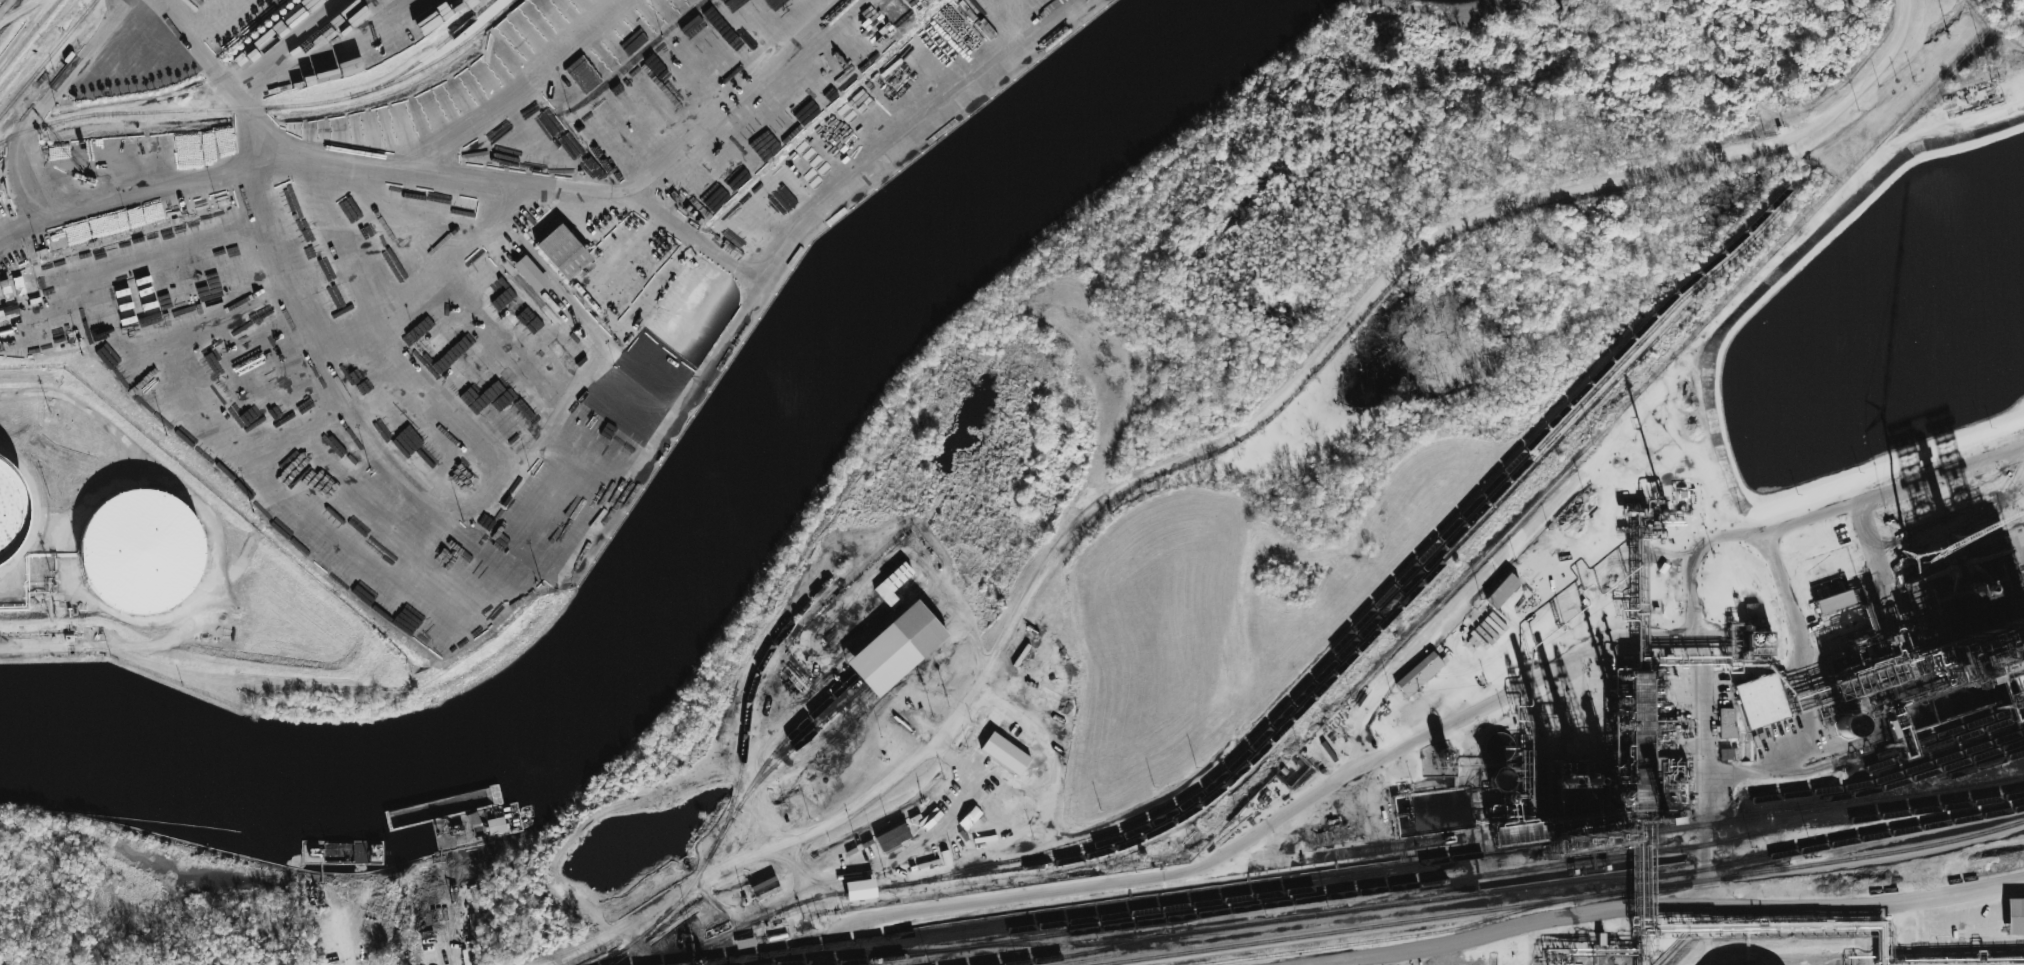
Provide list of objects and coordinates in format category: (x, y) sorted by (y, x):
building: (903, 12)
building: (955, 36)
railway: (427, 54)
railway: (47, 57)
railway: (173, 96)
railway: (322, 102)
road: (46, 105)
road: (315, 148)
road: (118, 204)
road: (467, 241)
road: (1826, 248)
building: (563, 251)
building: (530, 273)
river: (854, 310)
road: (232, 377)
road: (1653, 395)
road: (1105, 443)
road: (1210, 448)
road: (159, 470)
road: (1852, 480)
building: (13, 509)
storage tank: (13, 509)
road: (1764, 525)
storage tank: (541, 527)
storage tank: (545, 531)
storage tank: (551, 534)
storage tank: (560, 541)
storage tank: (566, 544)
building: (141, 553)
storage tank: (141, 553)
road: (1696, 559)
railway: (1422, 568)
building: (892, 584)
building: (1502, 590)
railway: (1386, 593)
building: (1834, 601)
road: (1787, 602)
road: (959, 606)
road: (99, 646)
building: (896, 648)
building: (1419, 673)
building: (1761, 701)
railway: (840, 706)
railway: (809, 716)
building: (1726, 722)
railway: (1934, 736)
railway: (1935, 746)
railway: (1245, 765)
railway: (1981, 765)
road: (1768, 768)
railway: (1885, 778)
railway: (737, 782)
railway: (1885, 786)
river: (283, 792)
road: (1048, 800)
road: (760, 807)
railway: (1876, 816)
road: (1263, 828)
road: (925, 829)
building: (893, 837)
railway: (1293, 880)
railway: (1400, 886)
railway: (1517, 888)
building: (860, 889)
railway: (1561, 899)
road: (1659, 907)
road: (755, 911)
railway: (1119, 915)
building: (2015, 916)
road: (348, 936)
railway: (1388, 938)
railway: (1063, 945)
railway: (901, 951)
road: (1343, 962)

